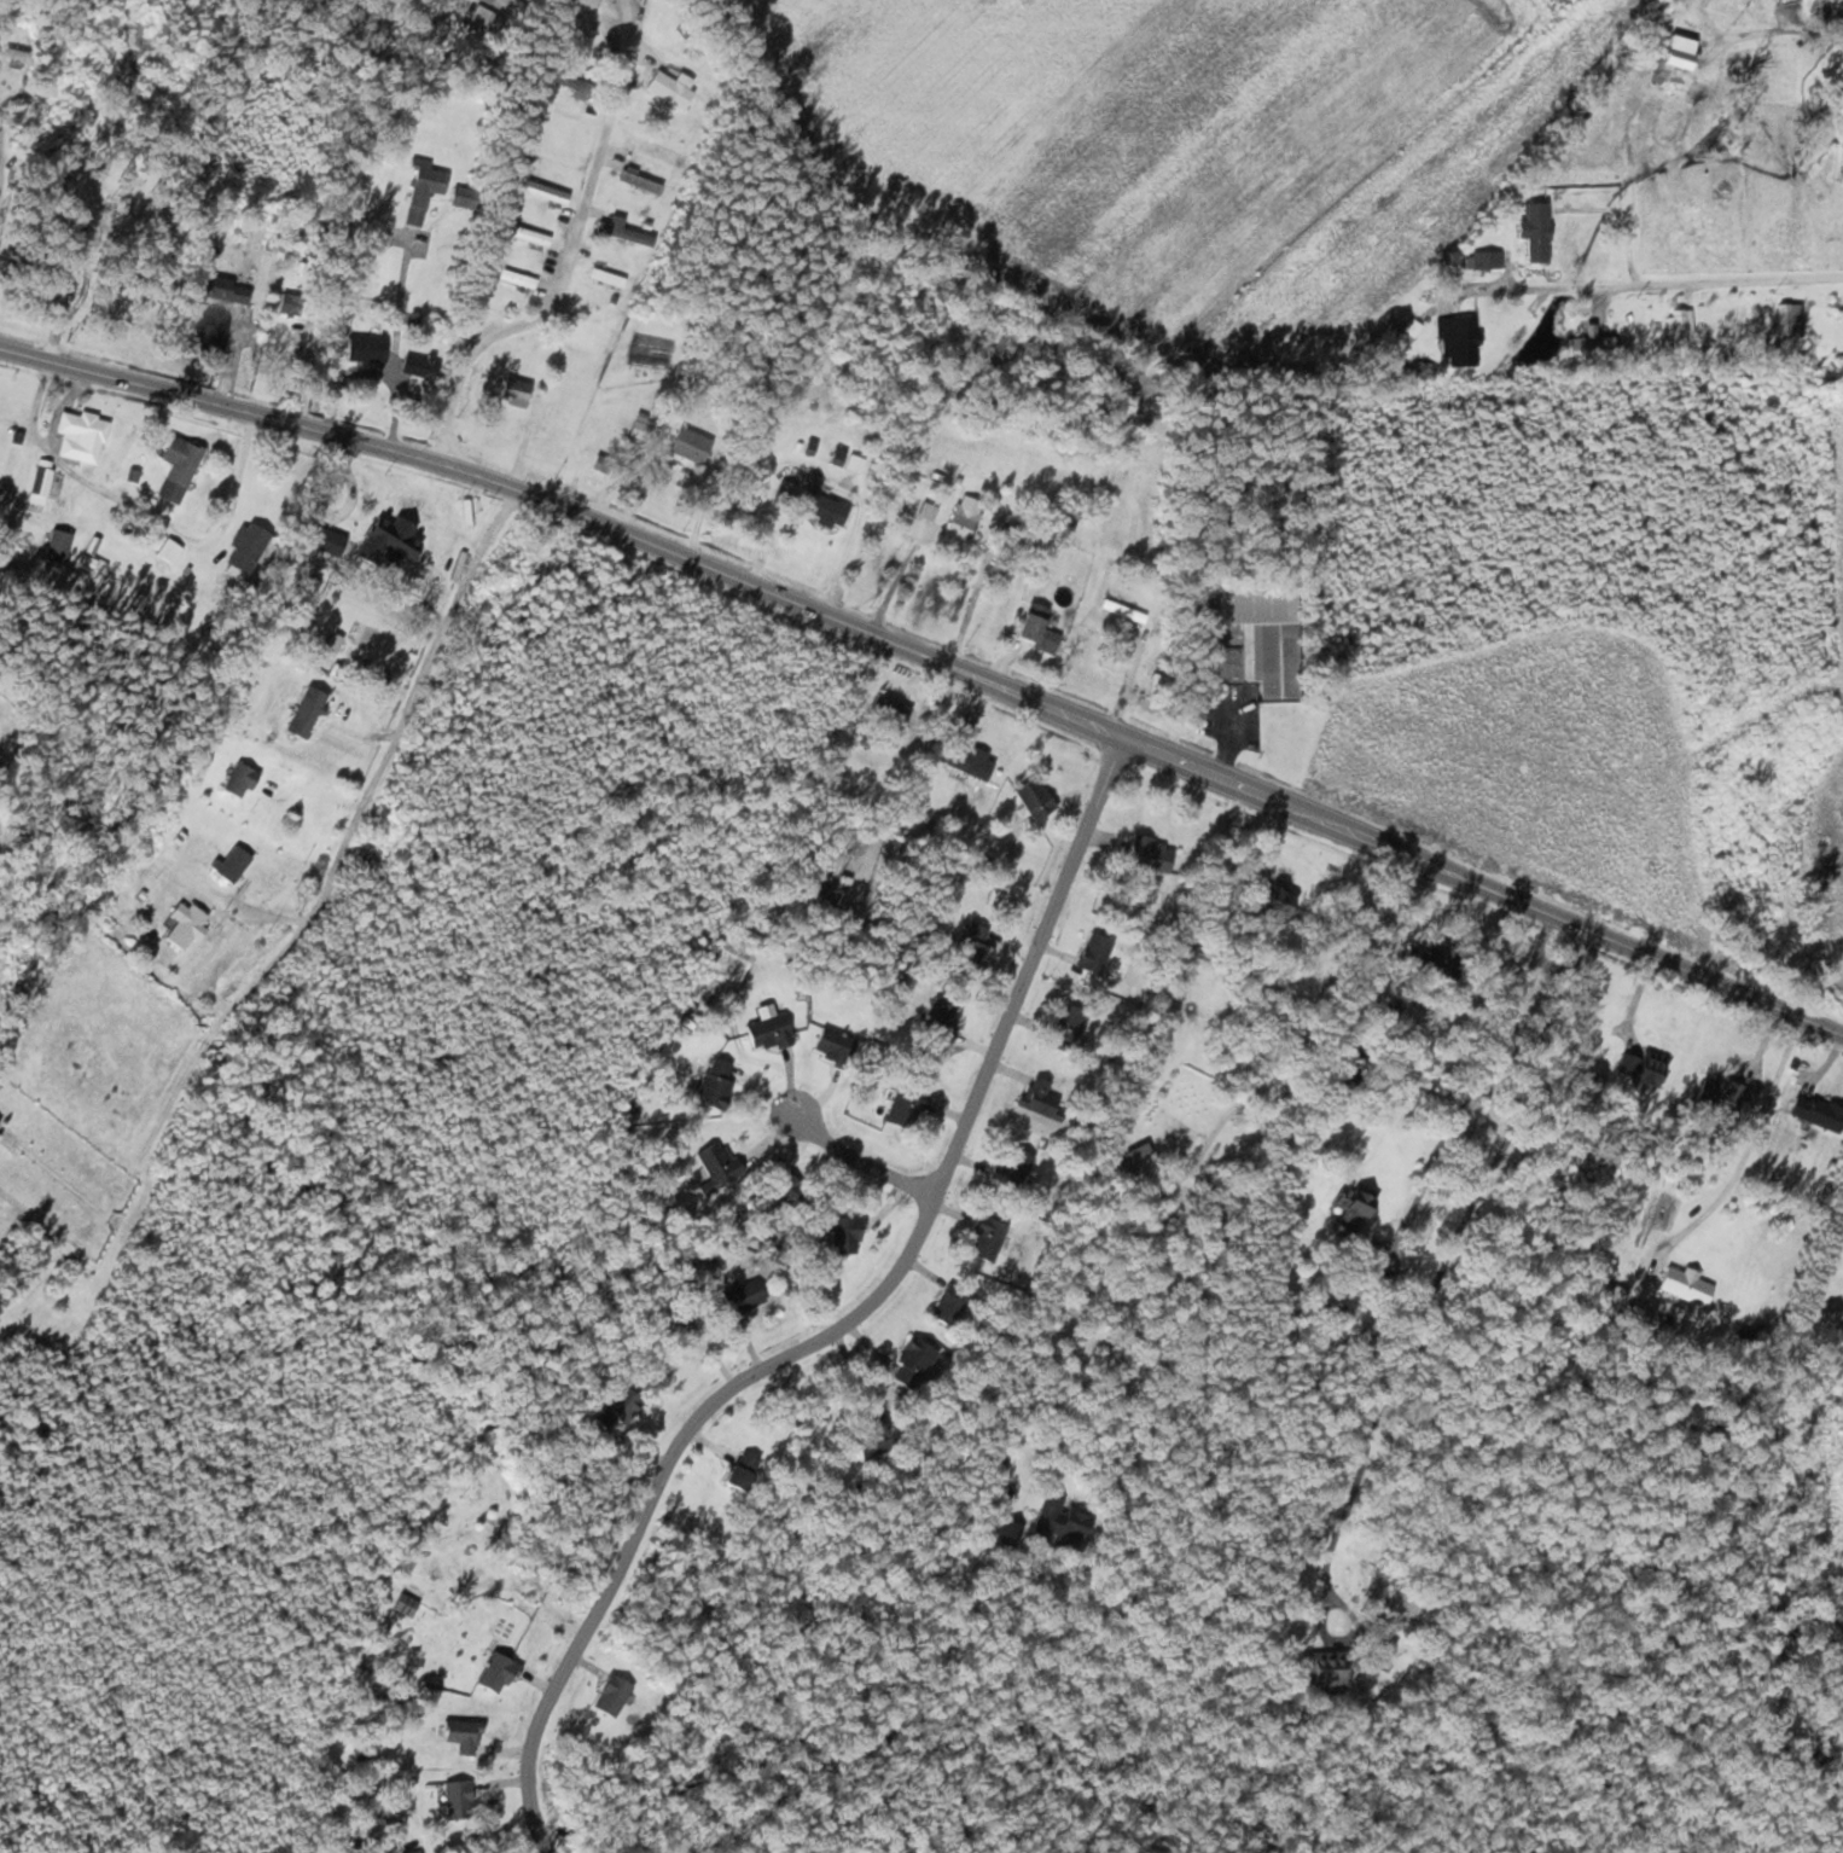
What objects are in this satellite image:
building: (586, 2)
building: (97, 12)
building: (87, 41)
building: (13, 53)
building: (1675, 57)
road: (6, 70)
building: (575, 86)
building: (671, 88)
building: (164, 93)
building: (64, 117)
building: (639, 181)
building: (423, 190)
building: (543, 191)
building: (463, 196)
building: (133, 214)
building: (622, 231)
building: (1535, 232)
building: (528, 233)
road: (570, 252)
building: (1486, 260)
building: (606, 277)
building: (517, 278)
road: (1657, 280)
building: (223, 289)
building: (1790, 324)
building: (1679, 329)
building: (1458, 339)
building: (366, 347)
building: (1591, 349)
building: (419, 365)
building: (959, 385)
building: (81, 437)
building: (686, 443)
building: (838, 455)
building: (854, 463)
building: (176, 470)
building: (39, 489)
building: (785, 492)
building: (407, 509)
building: (822, 509)
building: (961, 522)
building: (324, 540)
building: (56, 547)
building: (167, 550)
building: (121, 556)
building: (1035, 627)
building: (1254, 640)
road: (932, 651)
building: (304, 710)
building: (882, 710)
building: (969, 760)
building: (238, 779)
building: (1034, 796)
building: (1150, 853)
building: (232, 862)
road: (337, 869)
building: (1268, 896)
building: (184, 923)
building: (972, 947)
building: (1093, 952)
building: (1430, 962)
building: (938, 1018)
building: (1068, 1026)
building: (768, 1032)
building: (833, 1045)
building: (1641, 1067)
building: (716, 1084)
building: (1717, 1094)
building: (1041, 1099)
building: (905, 1104)
building: (1816, 1111)
building: (12, 1139)
road: (861, 1157)
building: (716, 1166)
building: (1013, 1168)
building: (790, 1190)
building: (1349, 1212)
building: (845, 1233)
building: (986, 1238)
building: (1686, 1284)
building: (742, 1296)
building: (953, 1307)
road: (844, 1324)
building: (612, 1408)
building: (871, 1441)
building: (739, 1470)
building: (1059, 1524)
building: (1325, 1668)
building: (495, 1672)
building: (610, 1694)
building: (461, 1735)
building: (457, 1796)

